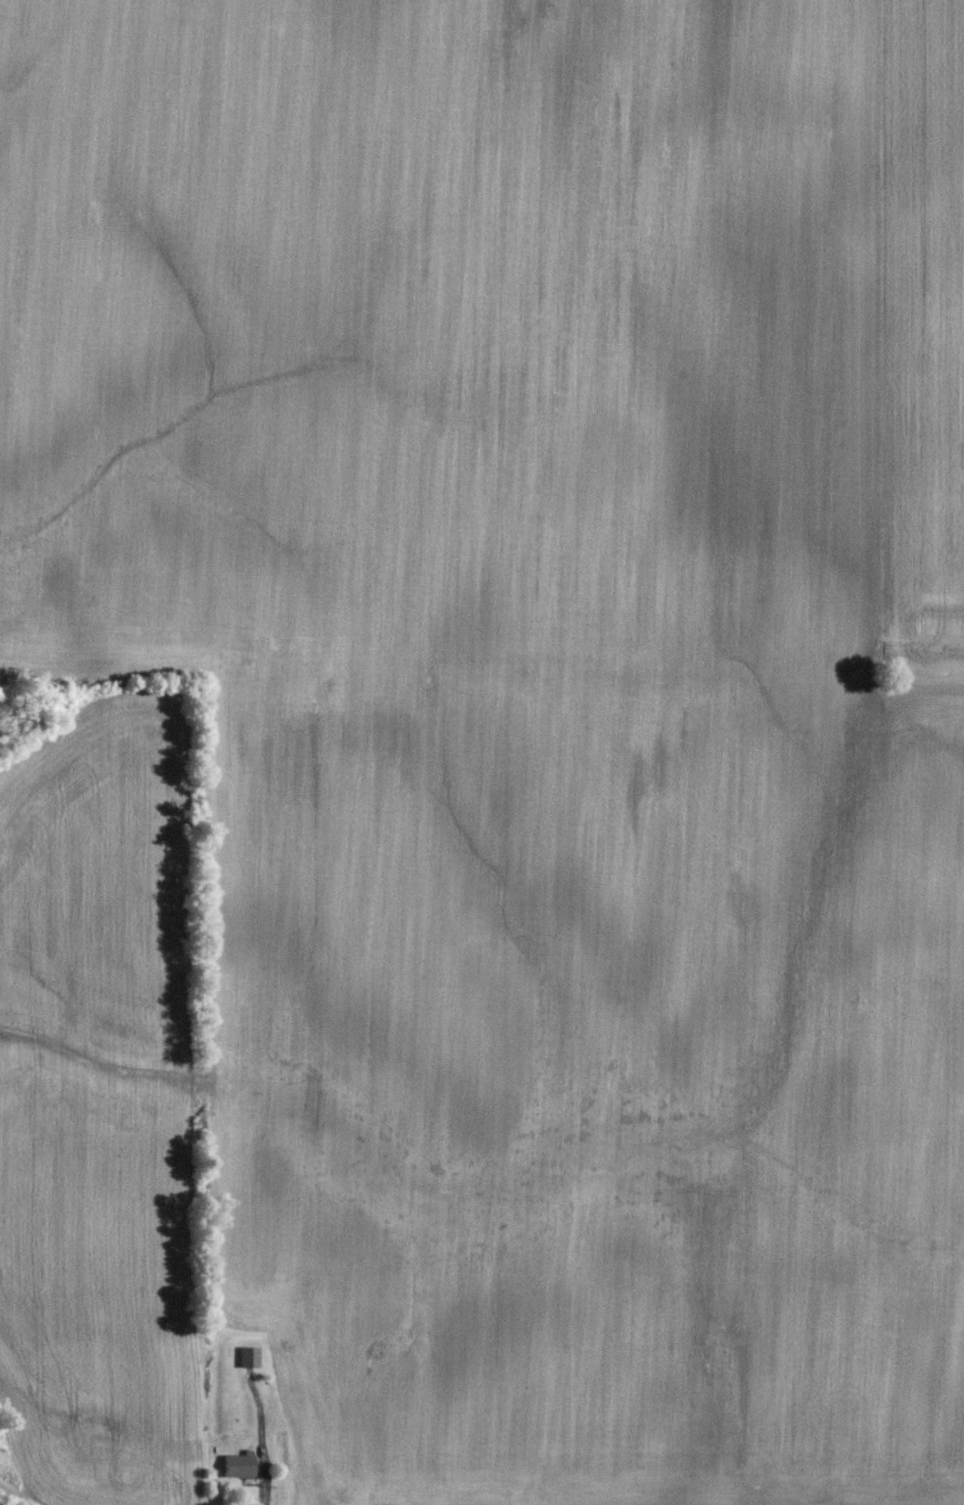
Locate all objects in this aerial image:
building: (247, 1363)
building: (238, 1471)
road: (8, 1499)

